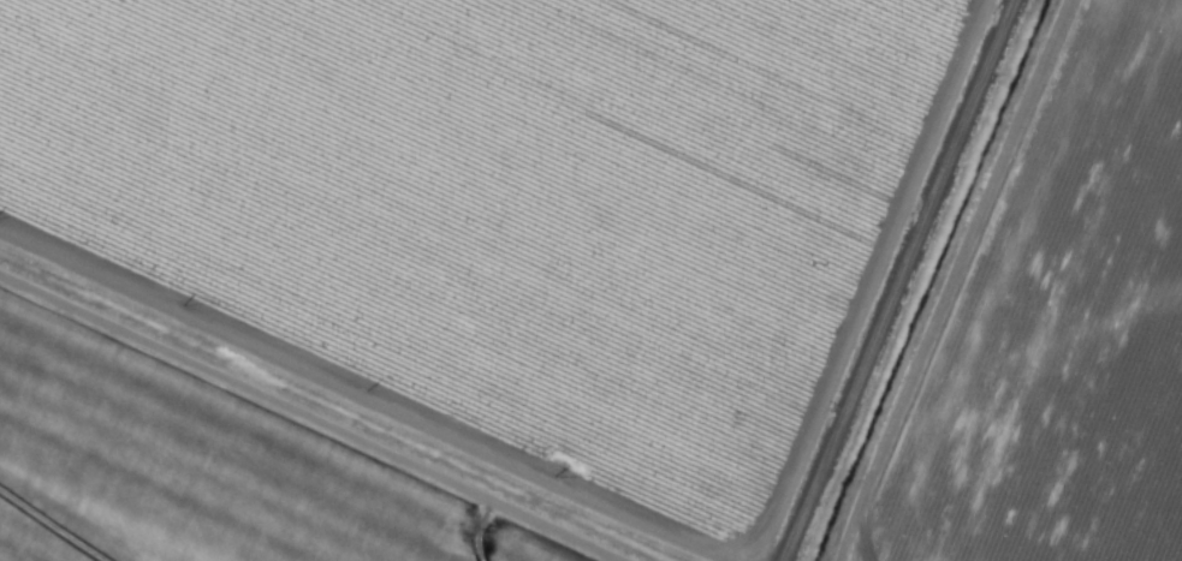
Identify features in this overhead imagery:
crop: (590, 280)
road: (904, 280)

